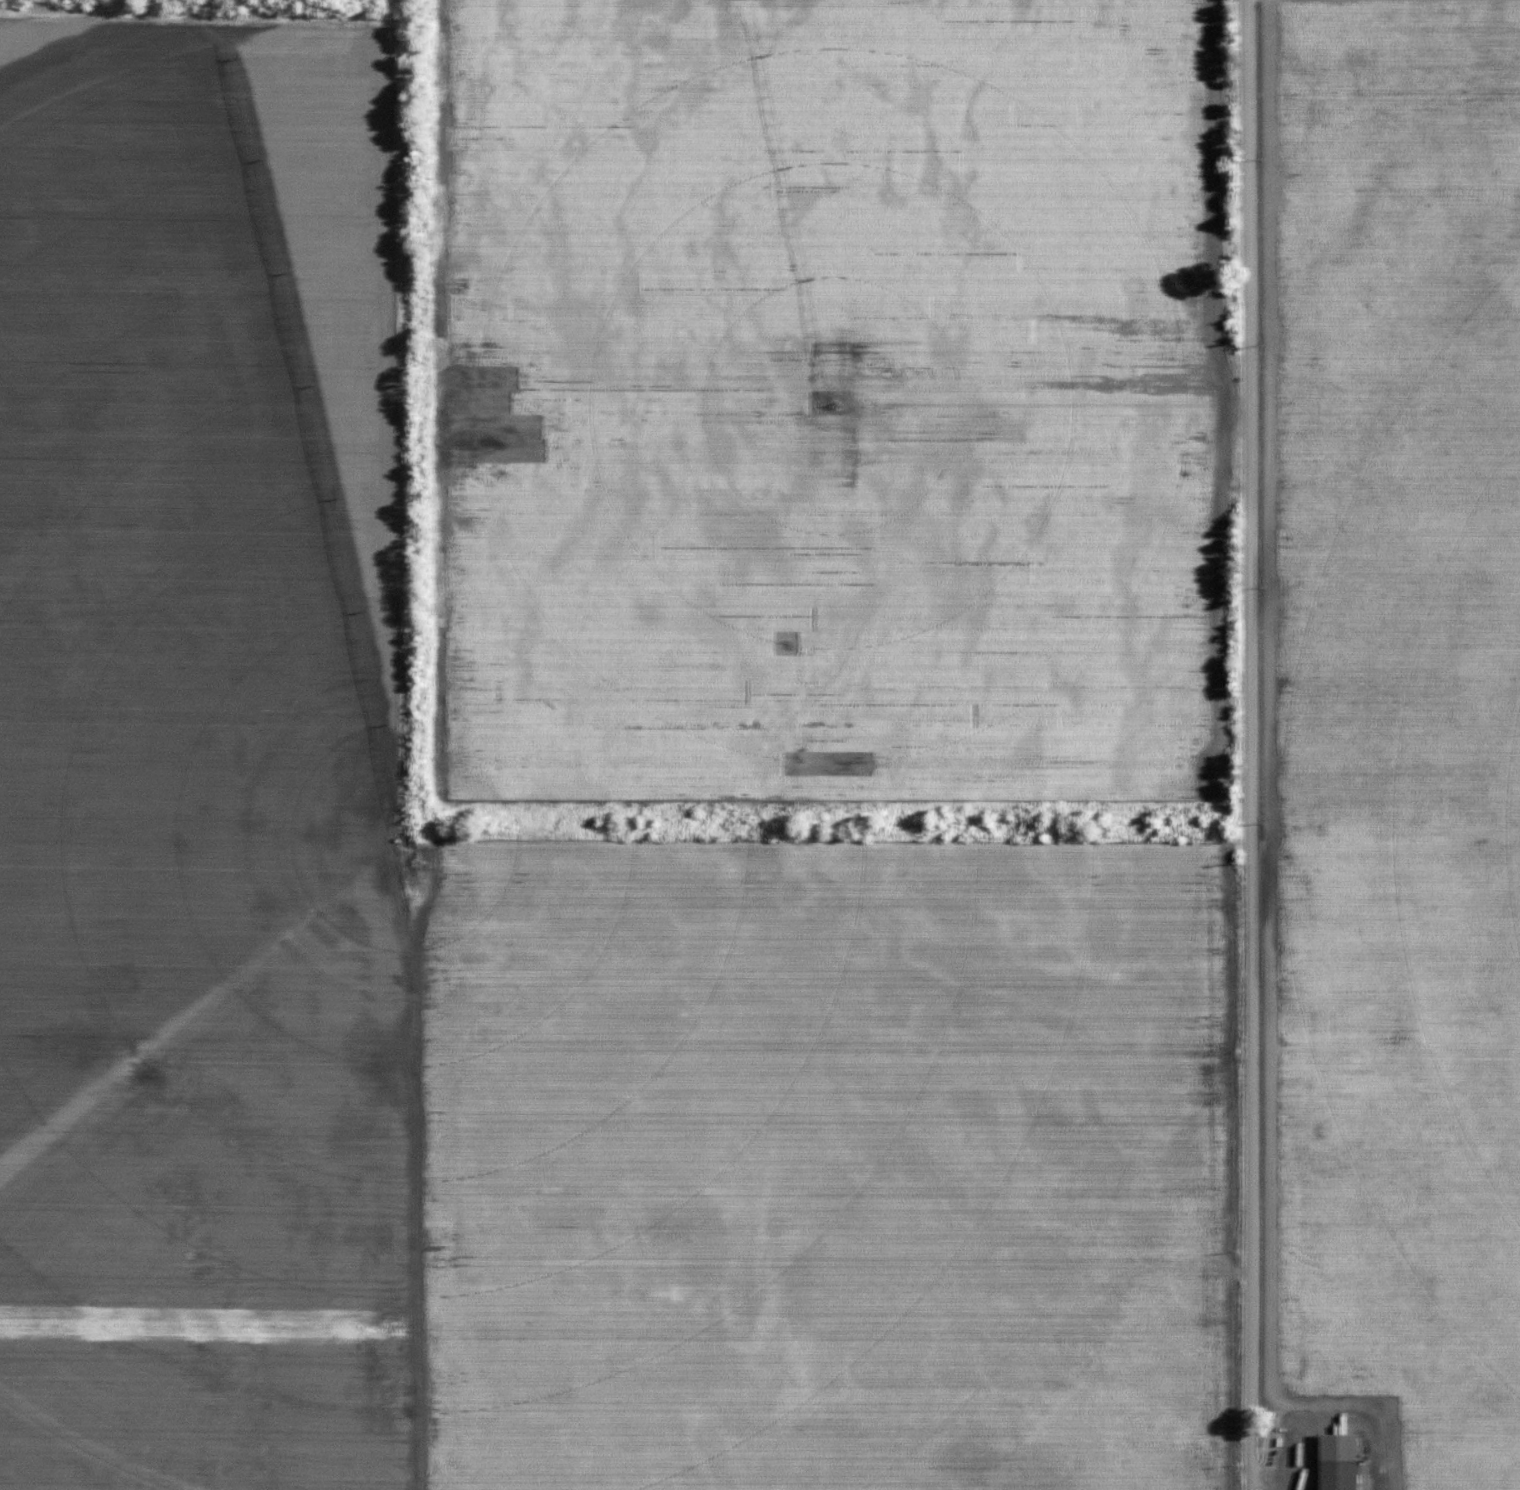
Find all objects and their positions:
road: (1256, 744)
building: (1334, 1474)

